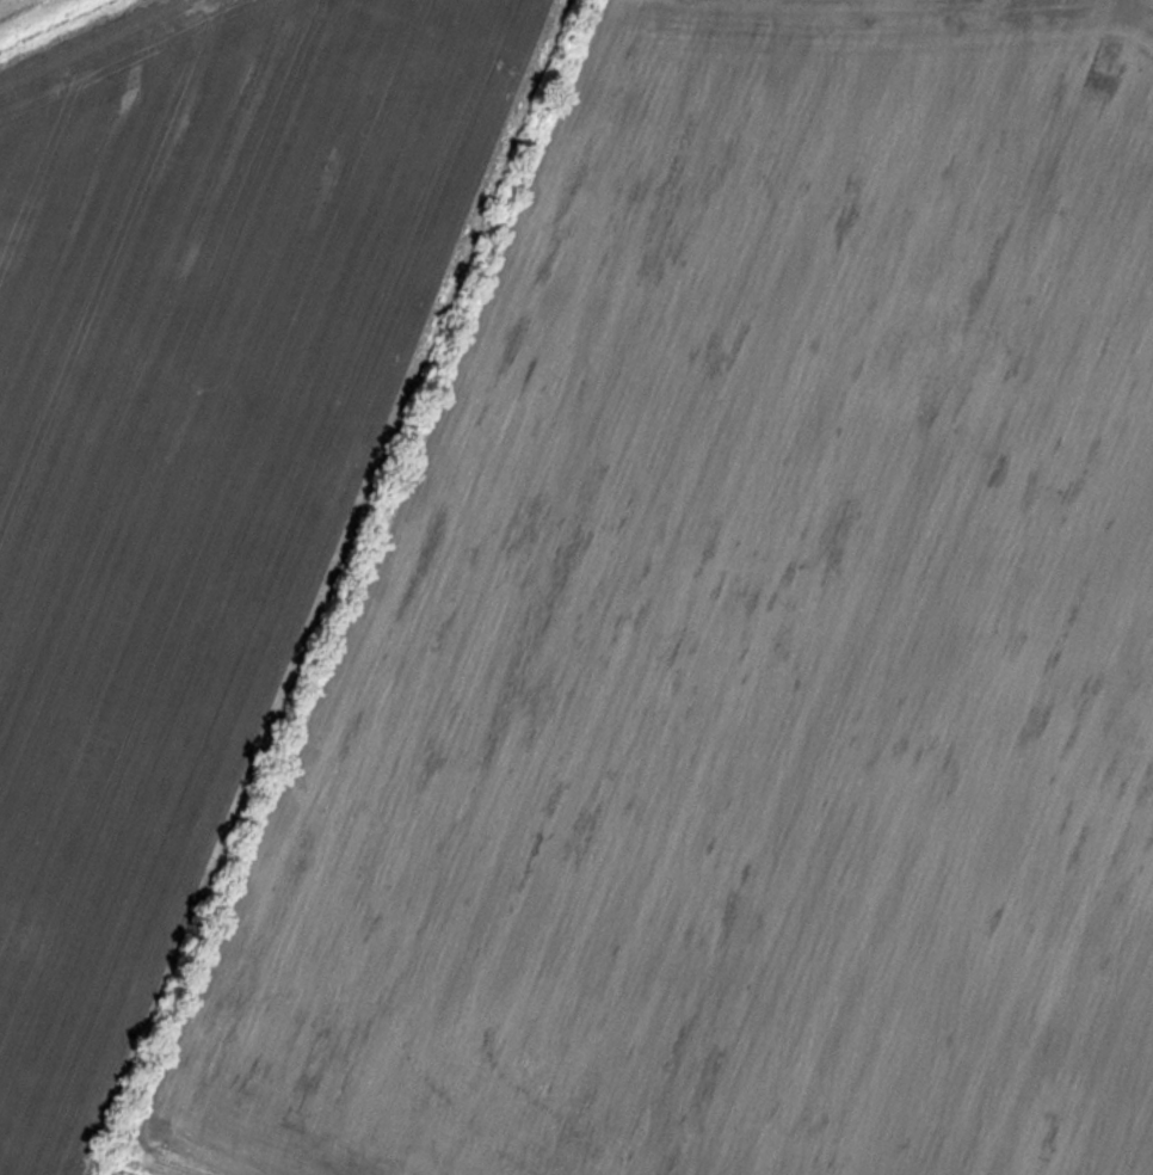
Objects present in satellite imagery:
crop: (744, 645)

